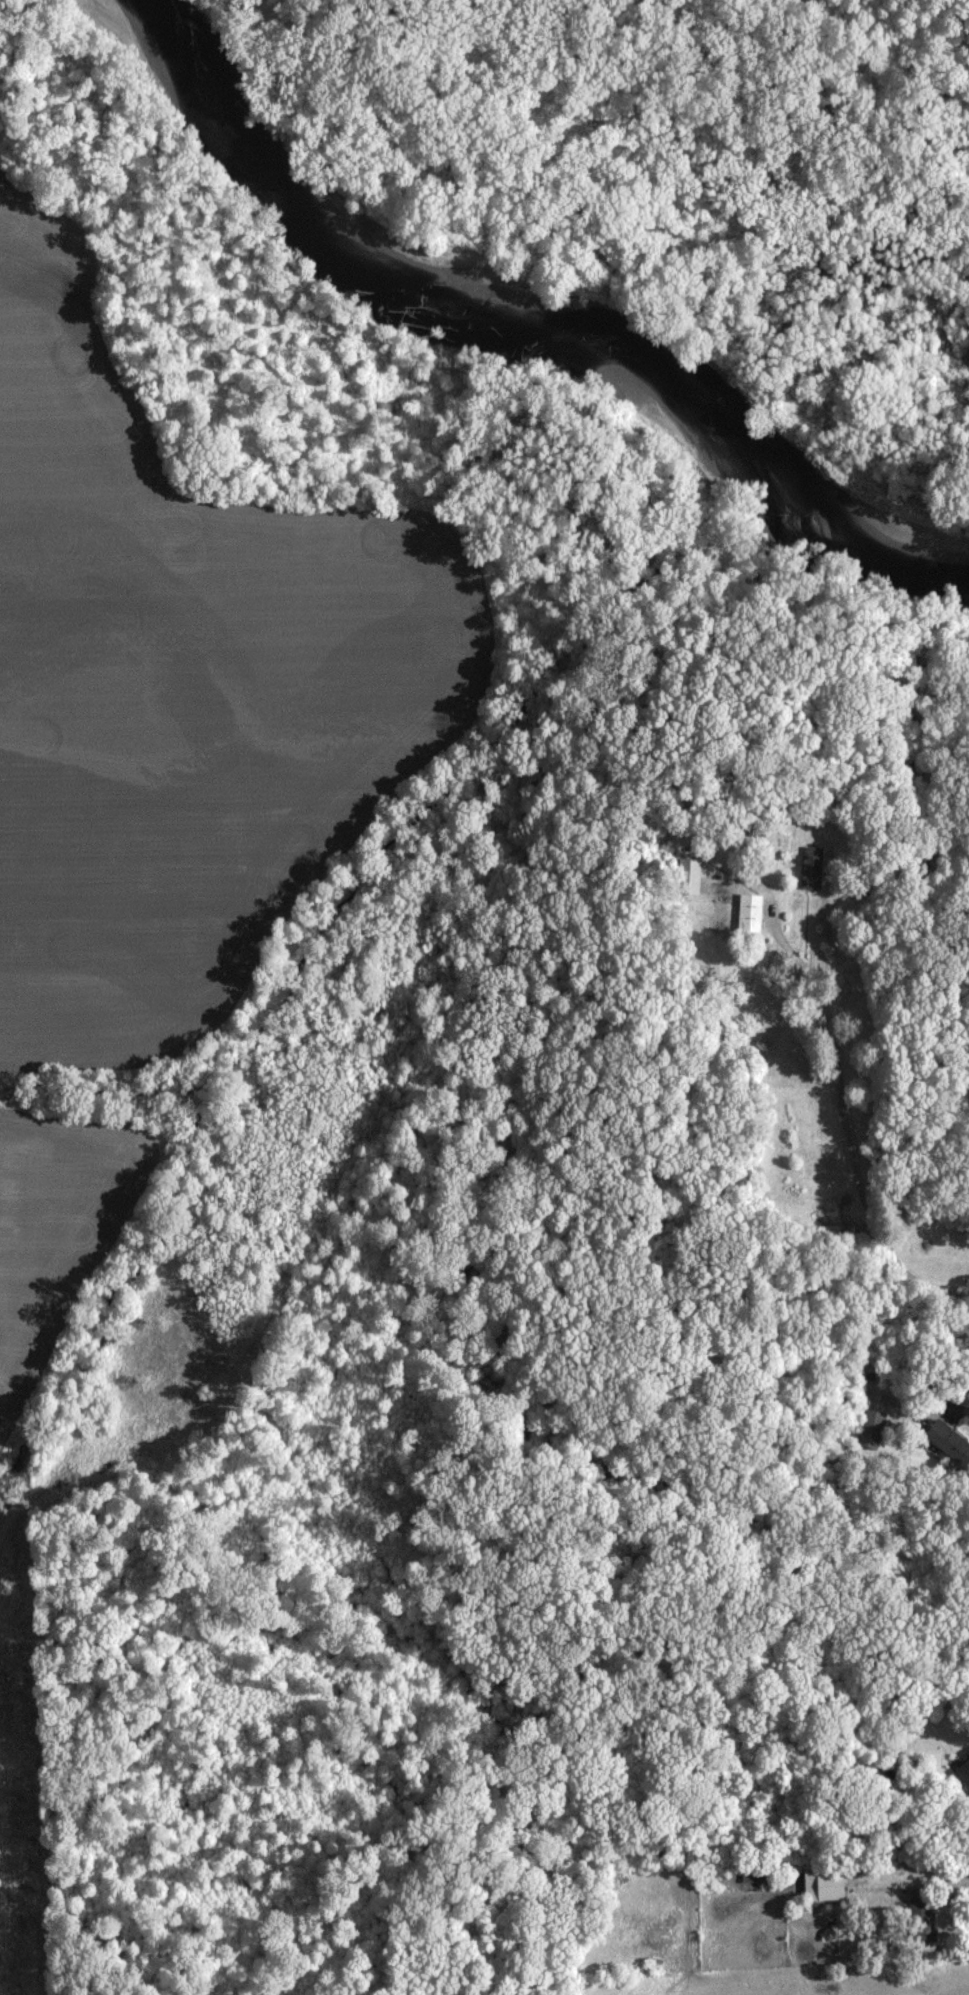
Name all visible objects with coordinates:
river: (527, 325)
building: (811, 866)
building: (750, 910)
road: (858, 1084)
building: (873, 1419)
building: (949, 1441)
road: (516, 1565)
road: (507, 1762)
building: (963, 1772)
building: (824, 1885)
road: (946, 1899)

